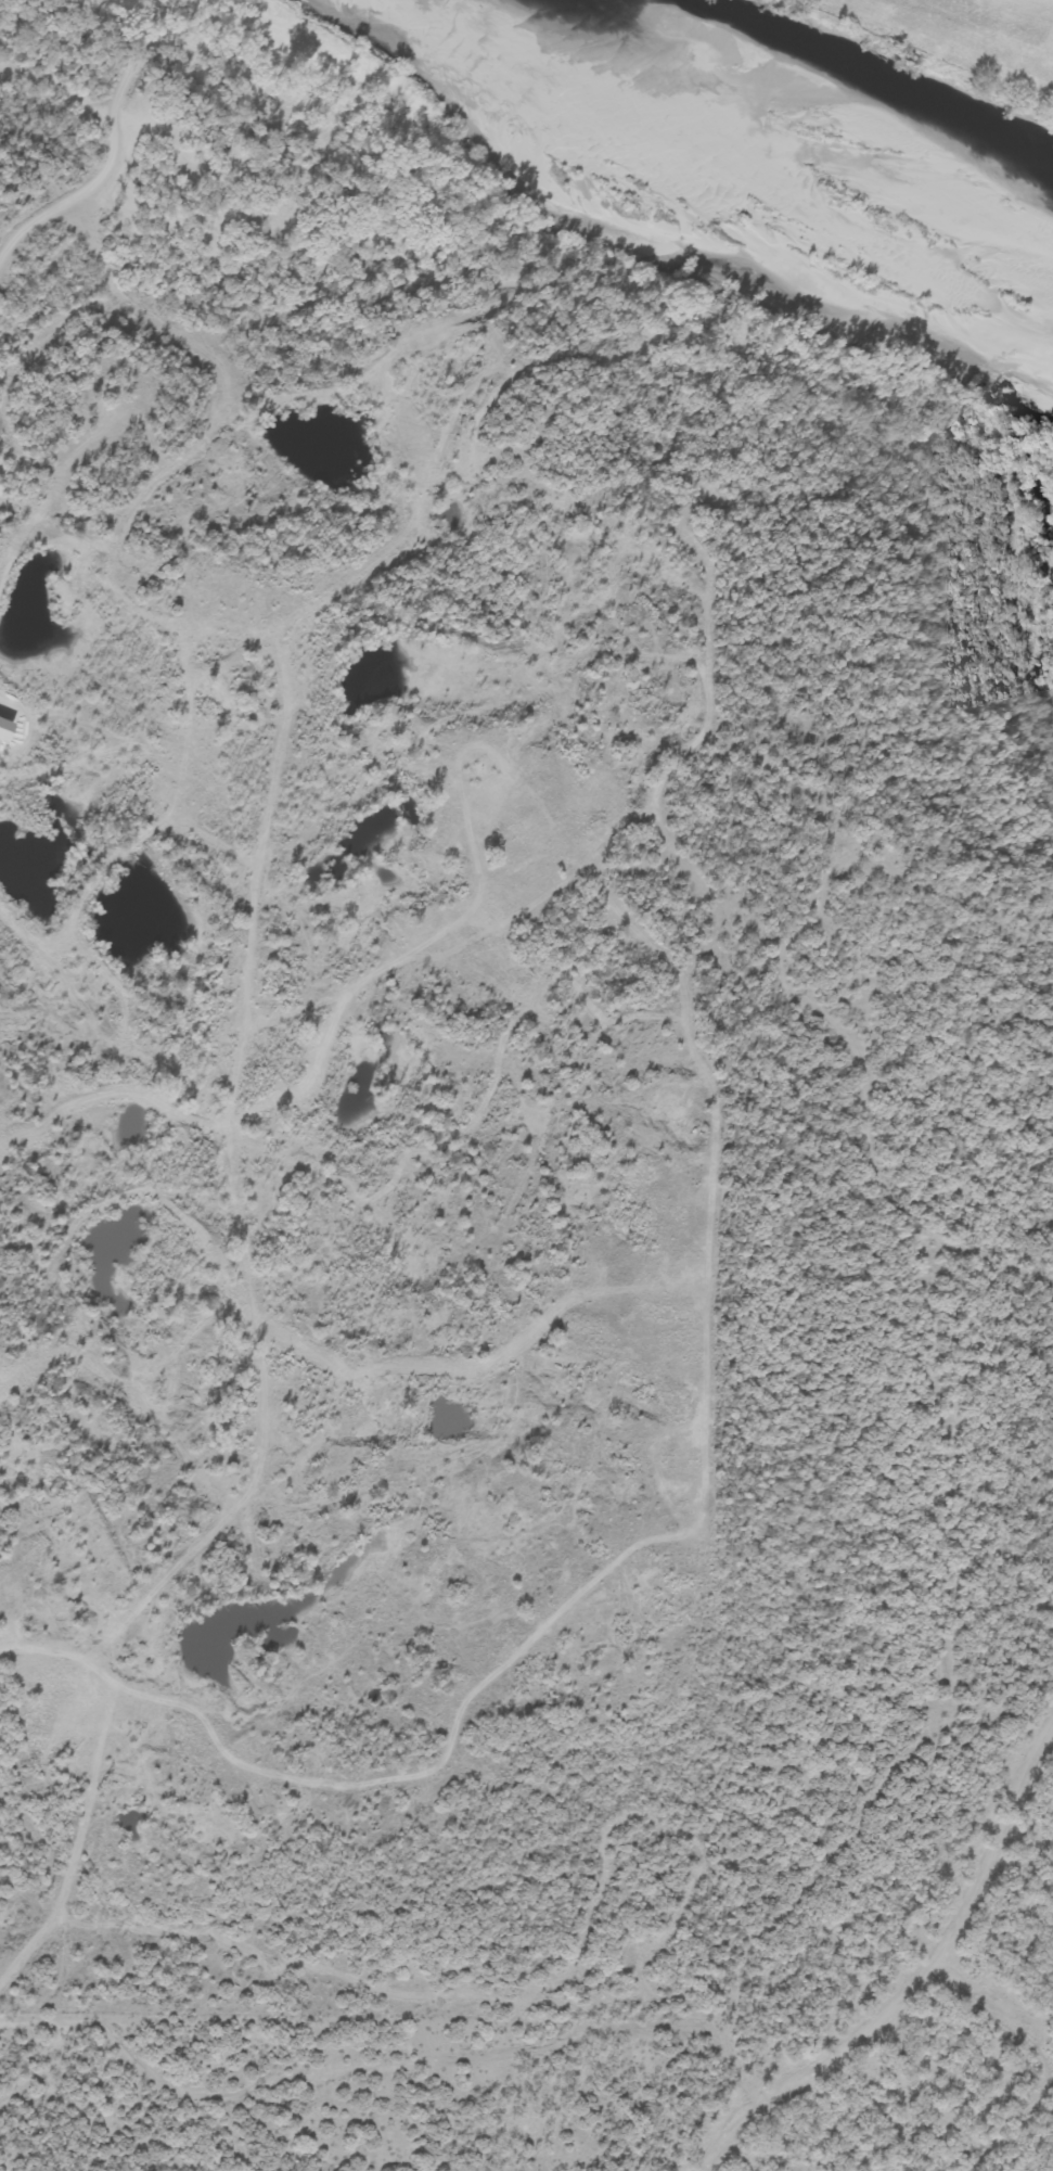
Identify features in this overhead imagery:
river: (851, 87)
road: (118, 152)
road: (18, 2013)

